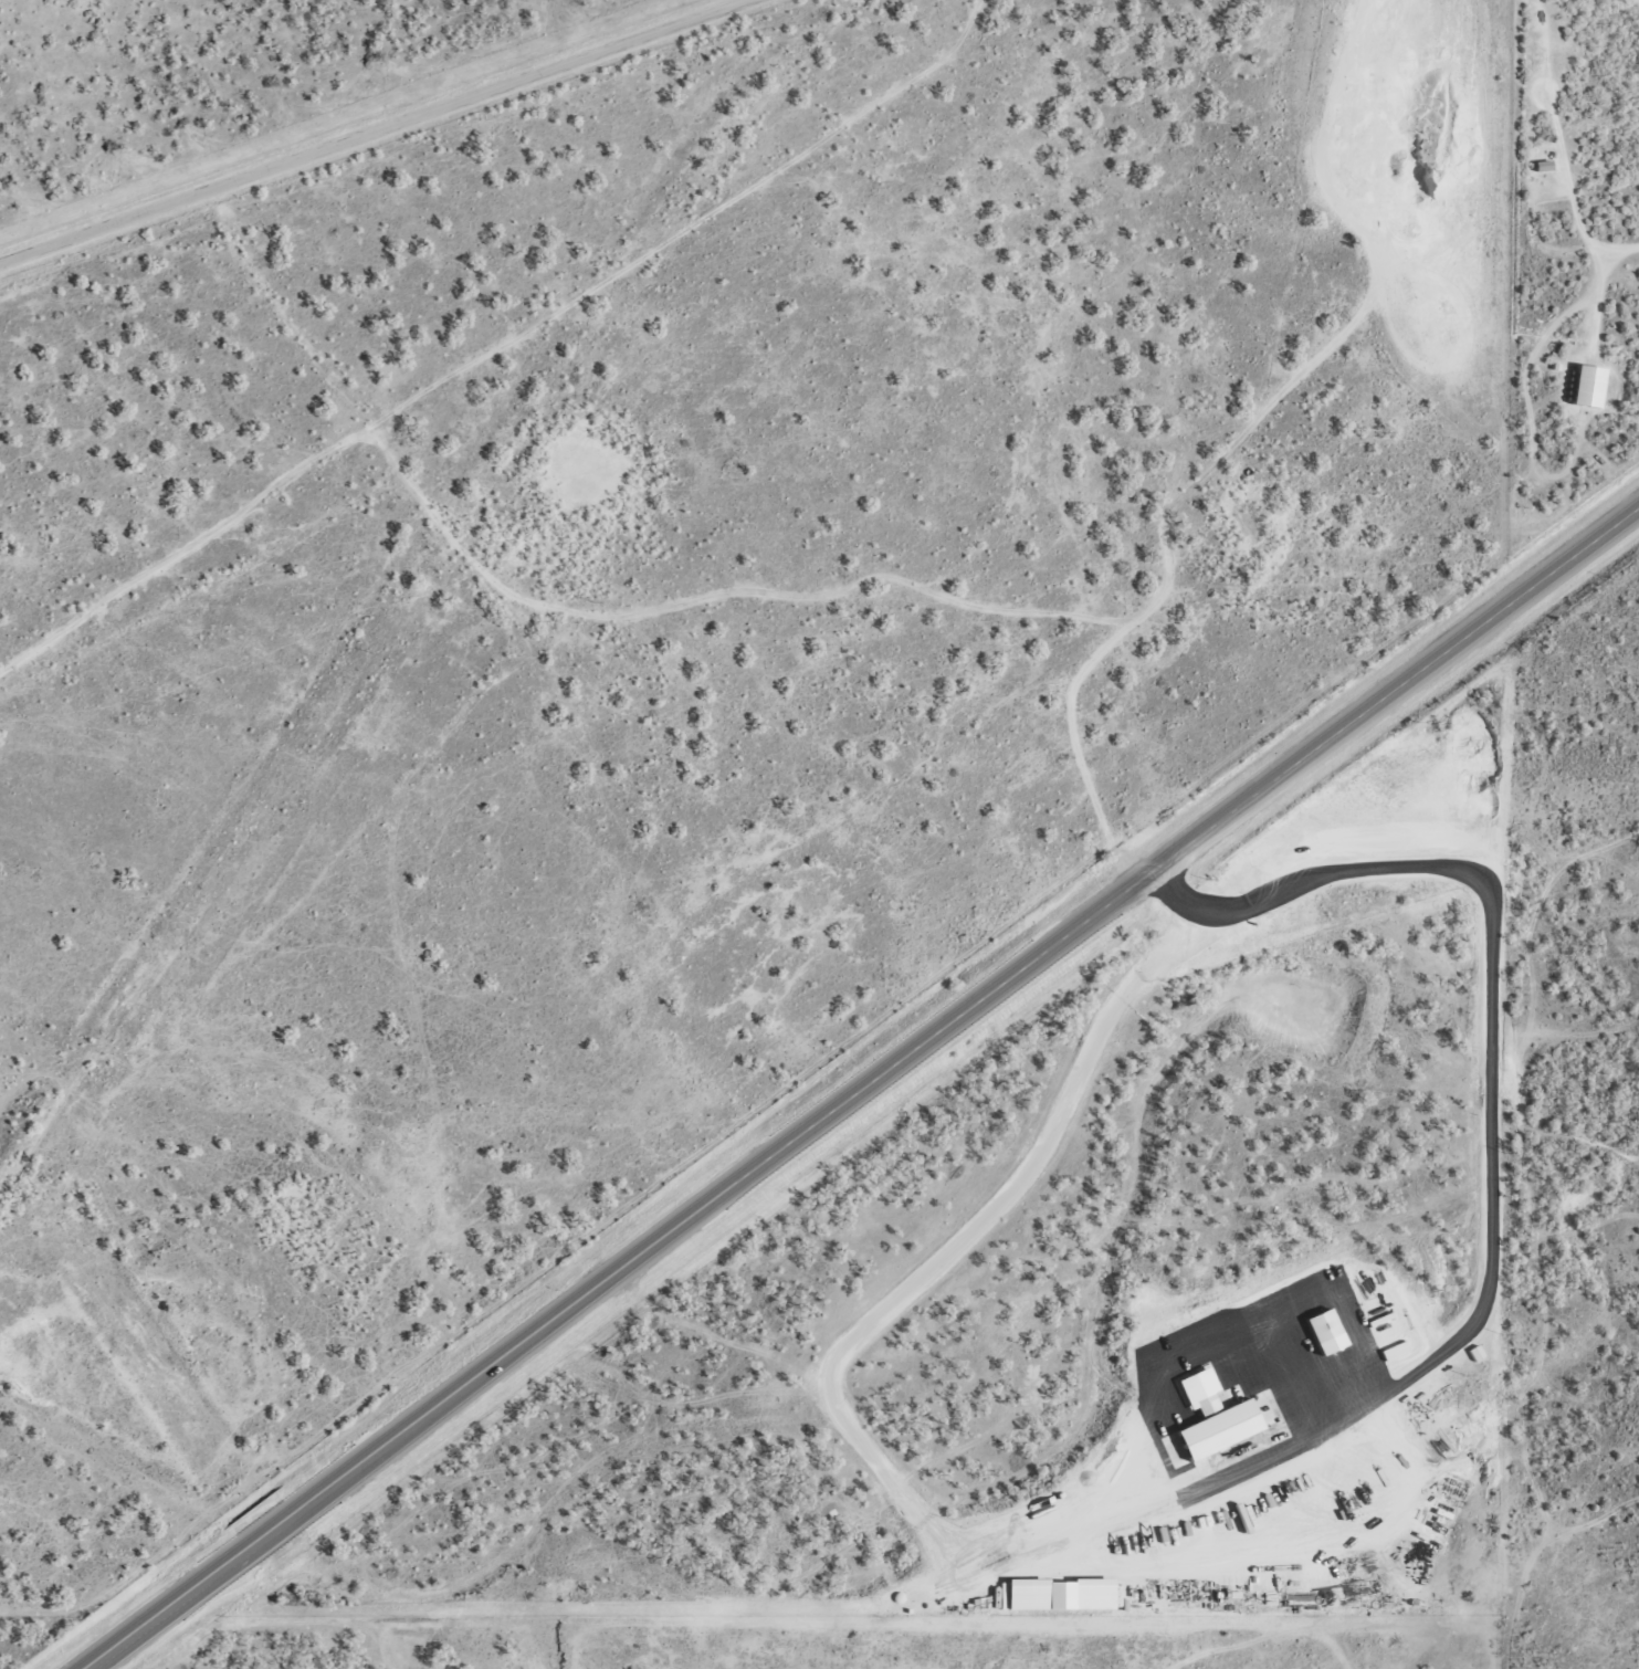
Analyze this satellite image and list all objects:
road: (1630, 13)
road: (438, 126)
building: (1583, 385)
road: (870, 1093)
building: (1318, 1324)
building: (1208, 1416)
building: (1055, 1594)

